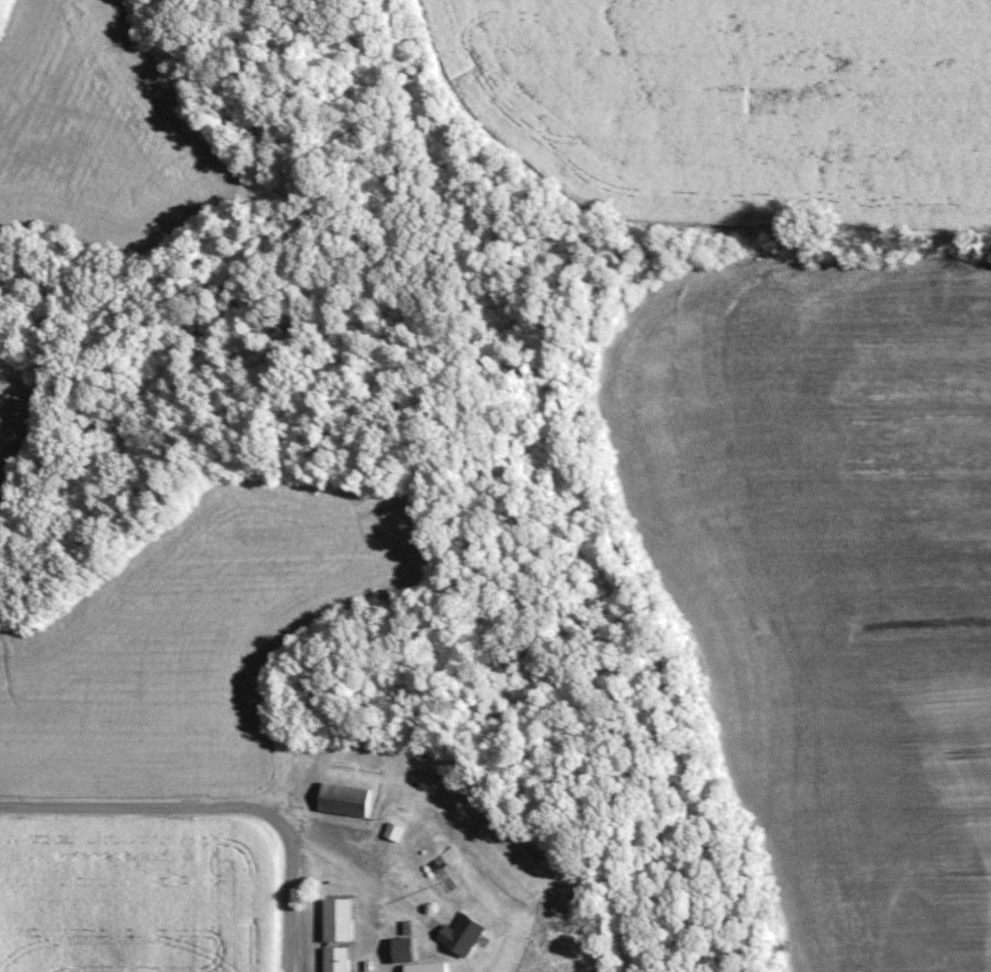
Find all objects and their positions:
building: (351, 798)
road: (144, 807)
road: (288, 899)
building: (467, 932)
building: (343, 933)
building: (408, 948)
building: (431, 966)

